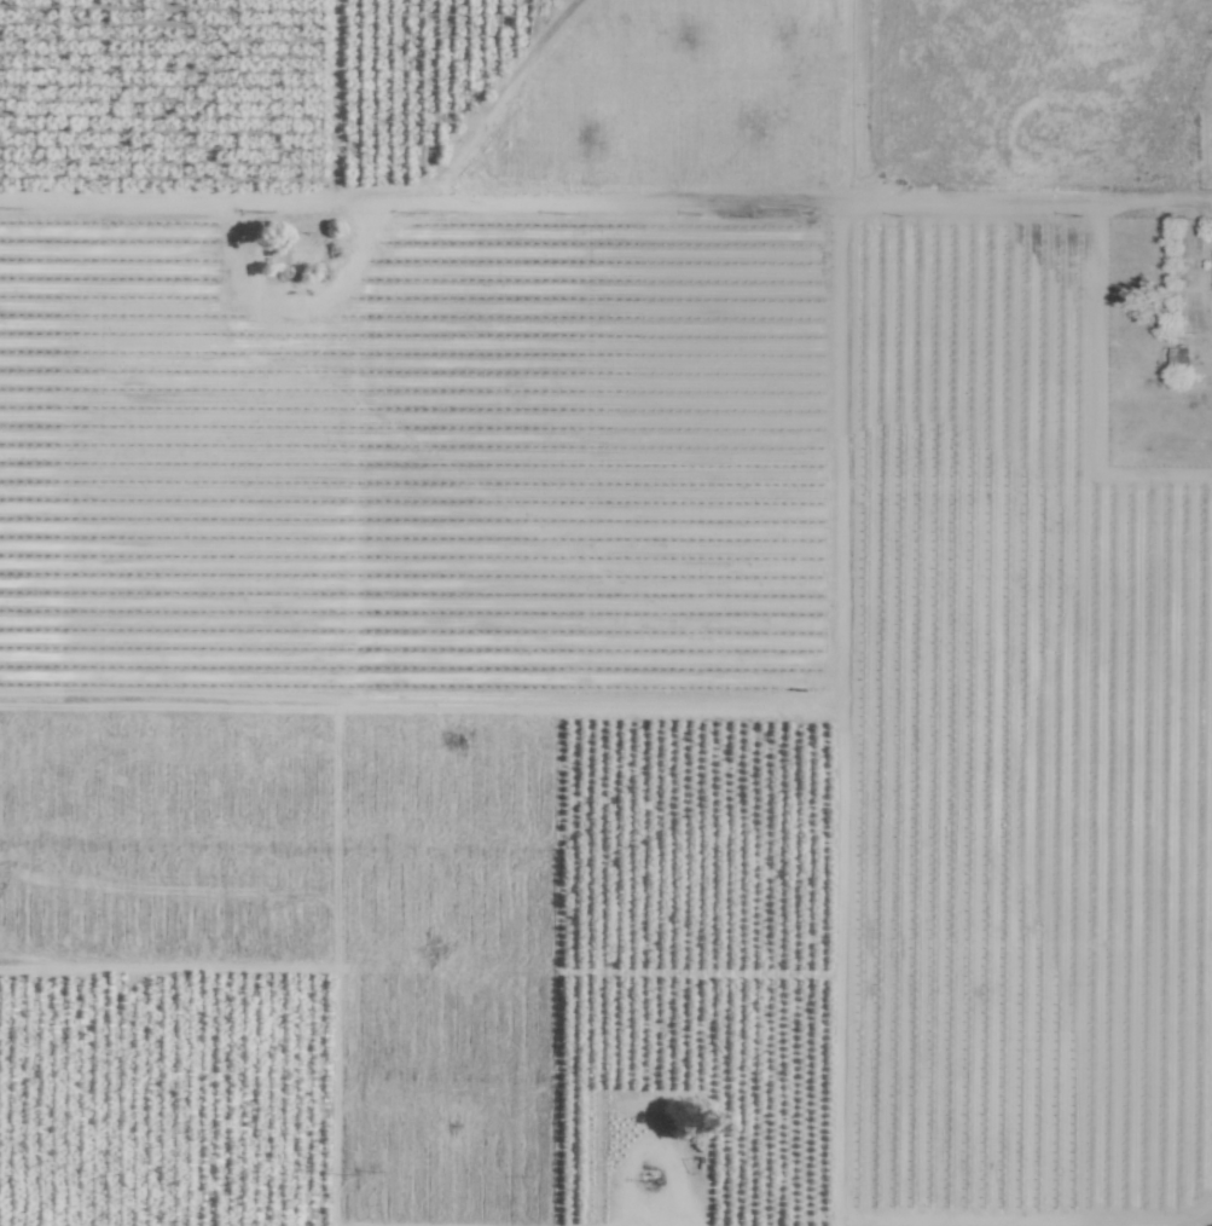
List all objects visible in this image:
road: (562, 198)
road: (1028, 198)
building: (305, 250)
road: (1202, 1220)

